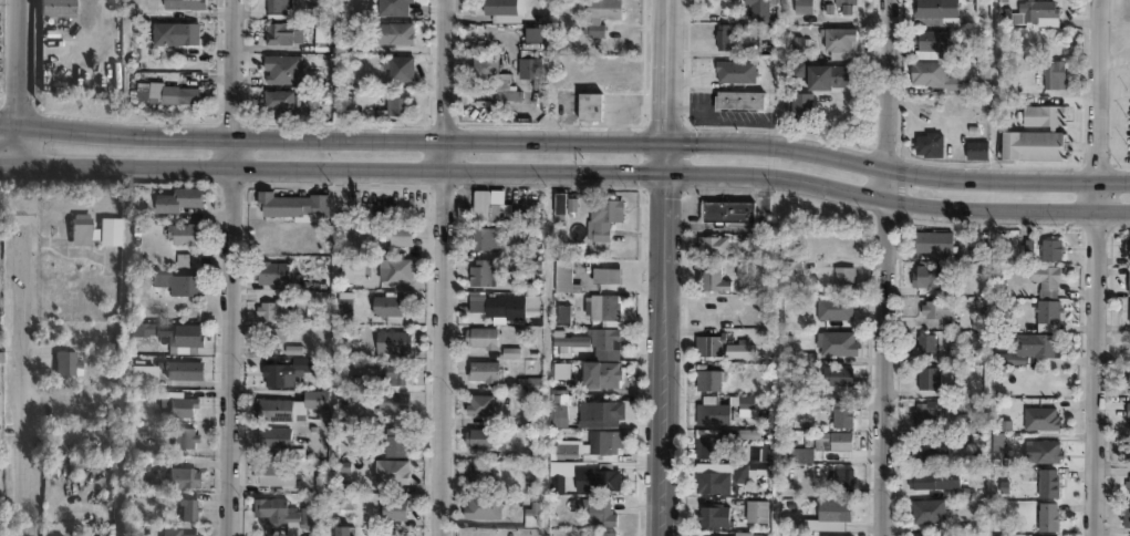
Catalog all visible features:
building: (277, 4)
building: (54, 7)
building: (392, 7)
building: (844, 7)
building: (186, 8)
building: (802, 8)
building: (504, 10)
building: (932, 10)
building: (757, 11)
building: (1041, 13)
building: (601, 14)
building: (283, 30)
building: (393, 31)
building: (176, 33)
building: (536, 33)
building: (720, 39)
building: (538, 43)
building: (933, 44)
building: (839, 45)
road: (19, 60)
road: (235, 65)
building: (283, 68)
building: (400, 68)
road: (447, 68)
building: (486, 69)
building: (528, 69)
road: (668, 69)
building: (1048, 75)
building: (933, 78)
building: (828, 79)
road: (890, 82)
road: (1103, 87)
building: (142, 91)
building: (180, 93)
building: (510, 97)
building: (278, 99)
building: (737, 103)
building: (396, 105)
building: (591, 109)
building: (800, 110)
building: (1043, 114)
road: (566, 136)
road: (18, 141)
building: (1033, 144)
building: (926, 147)
building: (975, 153)
road: (9, 163)
road: (576, 172)
building: (176, 199)
building: (562, 203)
building: (299, 206)
building: (486, 207)
building: (726, 209)
building: (603, 215)
building: (82, 231)
building: (111, 234)
building: (191, 236)
building: (405, 237)
building: (481, 237)
building: (929, 239)
building: (1127, 241)
building: (707, 243)
building: (1047, 247)
building: (365, 268)
building: (398, 271)
building: (481, 271)
building: (932, 272)
building: (604, 274)
building: (277, 275)
building: (563, 275)
building: (707, 277)
building: (1128, 277)
building: (838, 278)
building: (1041, 278)
building: (184, 285)
building: (345, 302)
building: (504, 306)
building: (936, 306)
building: (395, 308)
building: (601, 308)
building: (1128, 309)
building: (277, 311)
building: (1044, 312)
building: (561, 313)
road: (231, 333)
road: (445, 336)
building: (480, 337)
road: (665, 337)
building: (188, 338)
building: (279, 338)
building: (602, 338)
building: (921, 340)
building: (569, 341)
building: (832, 341)
building: (706, 342)
building: (396, 344)
building: (1026, 348)
building: (1127, 349)
road: (888, 350)
road: (1100, 355)
building: (69, 363)
building: (483, 370)
building: (560, 370)
building: (602, 372)
building: (838, 373)
building: (188, 374)
building: (291, 374)
building: (925, 377)
building: (1127, 377)
building: (703, 379)
road: (24, 381)
building: (530, 382)
building: (391, 389)
building: (320, 402)
building: (478, 403)
building: (960, 404)
building: (0, 408)
building: (1127, 408)
building: (183, 409)
building: (709, 409)
building: (560, 410)
building: (921, 410)
building: (838, 411)
building: (278, 412)
building: (601, 412)
building: (1038, 418)
building: (479, 436)
building: (826, 439)
building: (279, 440)
building: (188, 442)
building: (707, 443)
building: (923, 444)
building: (400, 445)
building: (592, 445)
building: (1038, 449)
building: (1128, 449)
building: (748, 451)
building: (800, 454)
building: (477, 471)
building: (396, 474)
building: (840, 475)
building: (601, 476)
building: (280, 477)
building: (920, 480)
building: (704, 481)
building: (1044, 481)
building: (185, 483)
building: (1126, 483)
building: (328, 487)
building: (480, 505)
building: (830, 508)
building: (923, 508)
building: (598, 511)
building: (751, 511)
building: (398, 513)
building: (191, 514)
building: (1124, 514)
building: (708, 515)
building: (1044, 515)
building: (293, 516)
building: (345, 533)
building: (605, 533)
building: (742, 533)
building: (174, 534)
building: (932, 534)
building: (831, 535)
building: (996, 535)
building: (1041, 535)

